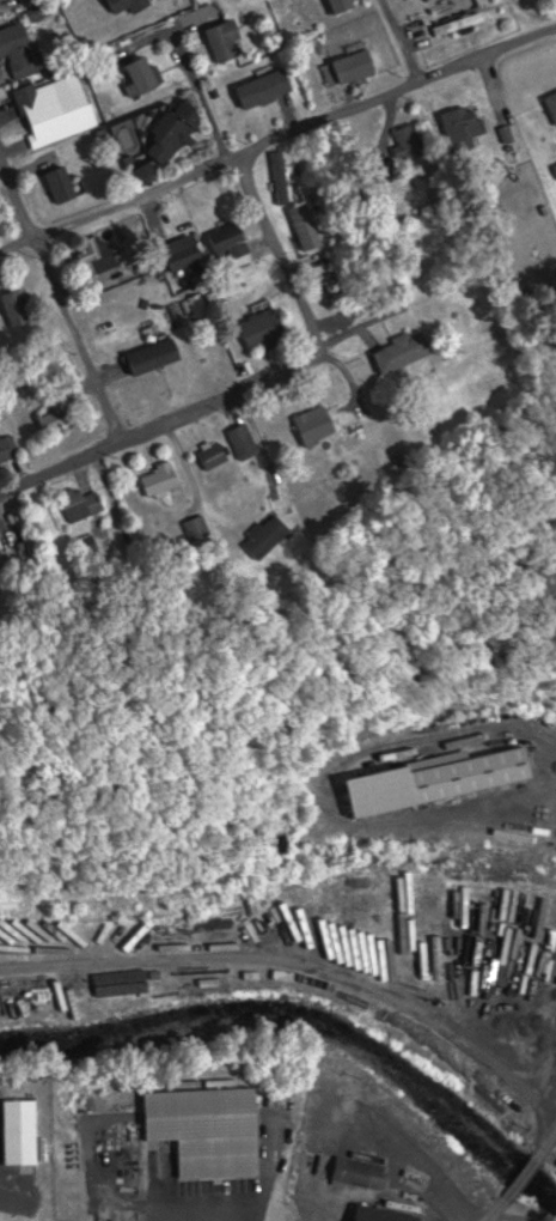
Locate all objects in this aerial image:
building: (344, 4)
building: (132, 5)
building: (221, 40)
road: (402, 40)
building: (22, 48)
building: (354, 67)
building: (145, 74)
building: (262, 87)
building: (549, 105)
building: (55, 114)
building: (468, 123)
road: (280, 133)
building: (169, 139)
building: (65, 183)
road: (245, 183)
building: (308, 225)
building: (231, 235)
building: (188, 251)
building: (103, 254)
road: (65, 286)
building: (126, 298)
building: (22, 306)
road: (363, 323)
building: (268, 327)
building: (398, 350)
building: (60, 420)
road: (164, 420)
building: (320, 423)
building: (250, 441)
building: (10, 449)
building: (220, 455)
building: (166, 479)
building: (88, 503)
building: (208, 527)
building: (31, 529)
building: (280, 535)
building: (2, 551)
building: (439, 780)
road: (281, 966)
river: (308, 1016)
road: (543, 1101)
building: (210, 1130)
building: (363, 1172)
road: (523, 1180)
road: (499, 1213)
building: (378, 1214)

